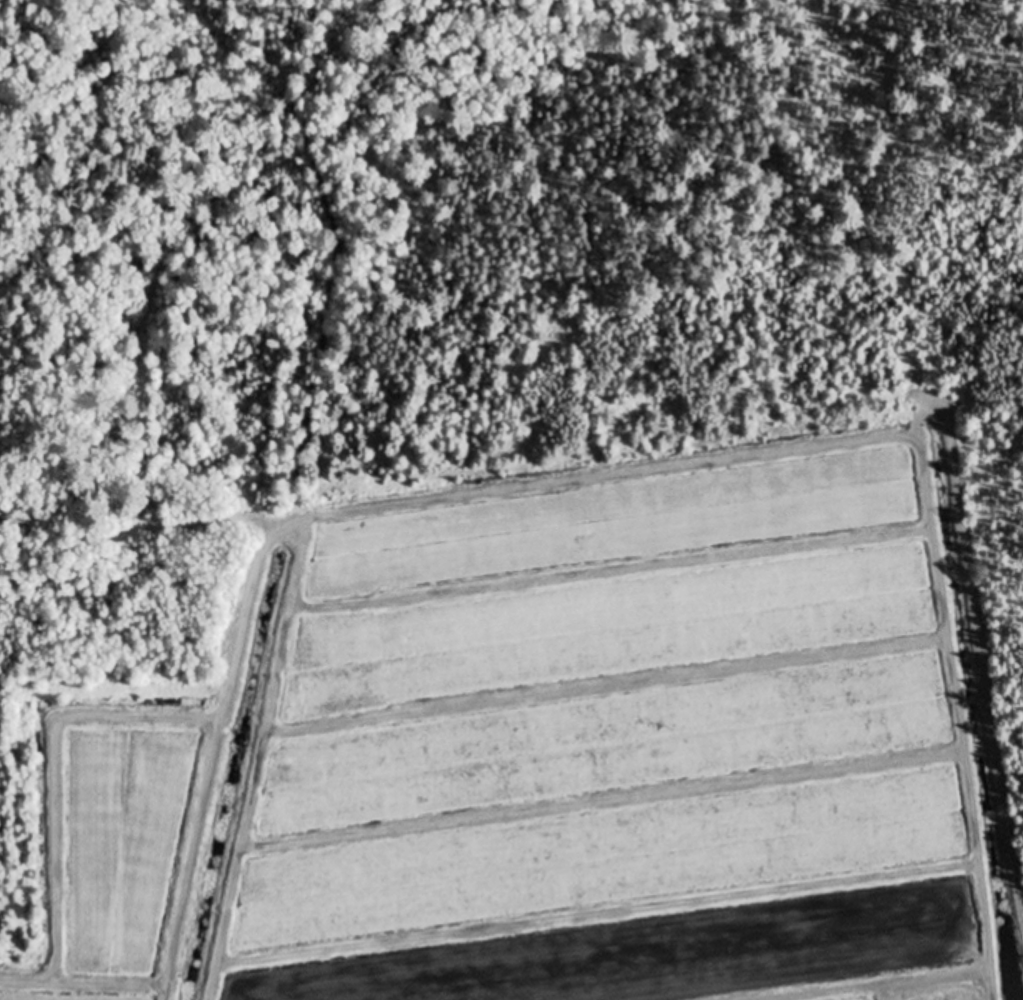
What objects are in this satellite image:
road: (933, 569)
crop: (612, 753)
crop: (122, 857)

